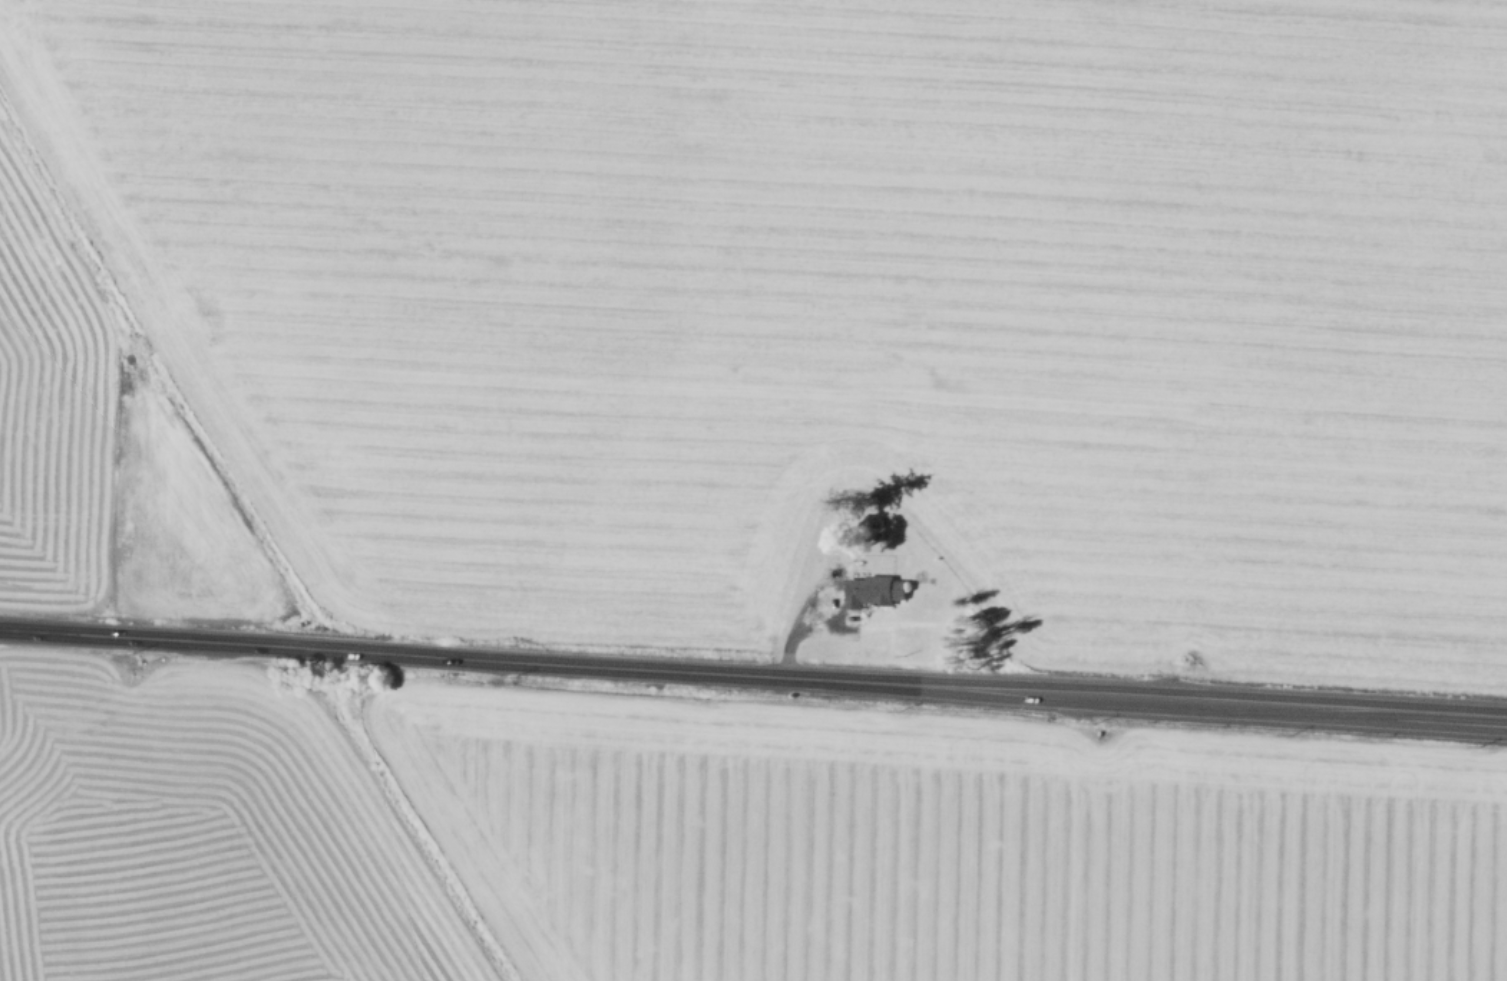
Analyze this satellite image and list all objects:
crop: (834, 303)
crop: (95, 473)
building: (880, 521)
building: (875, 590)
road: (799, 625)
road: (753, 672)
crop: (709, 840)

